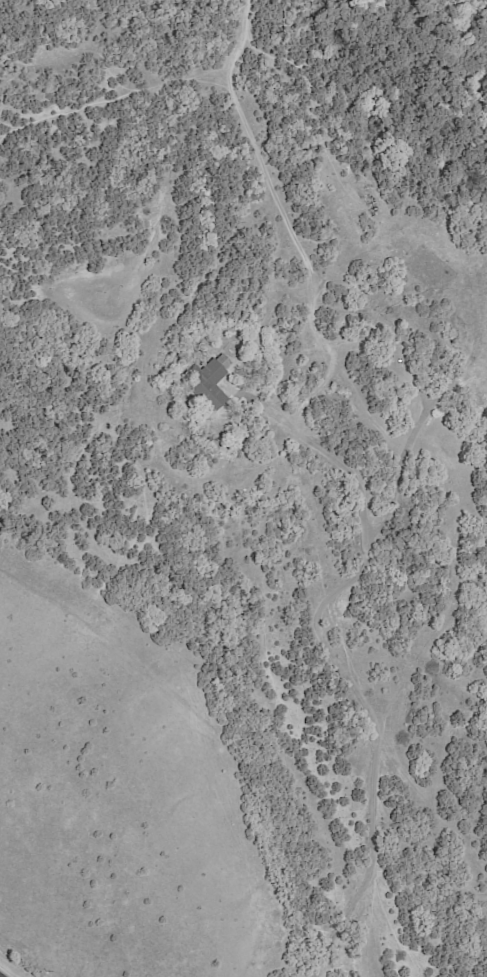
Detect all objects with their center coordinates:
building: (284, 339)
building: (405, 344)
building: (403, 358)
building: (209, 381)
building: (476, 396)
road: (325, 447)
road: (371, 742)
road: (1, 975)

